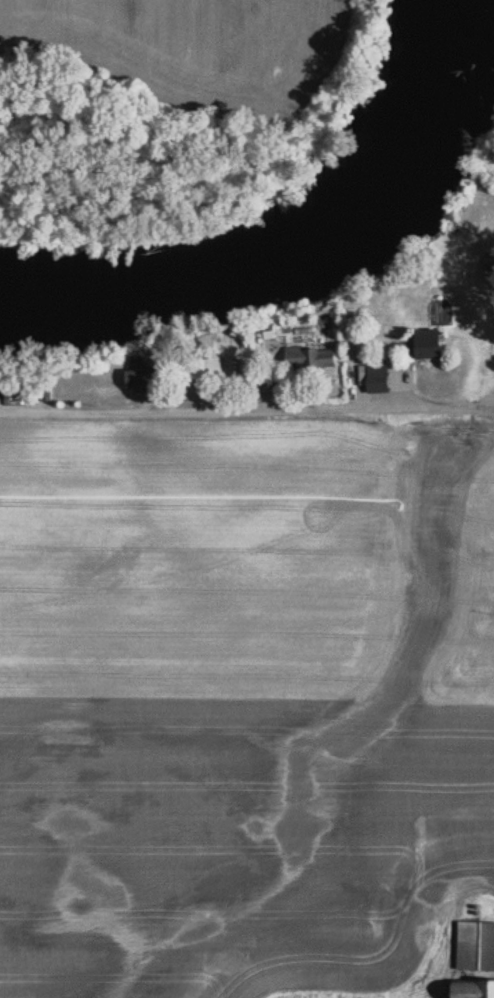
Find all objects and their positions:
river: (309, 254)
building: (493, 264)
building: (432, 345)
building: (314, 357)
building: (208, 369)
building: (148, 377)
building: (259, 377)
building: (382, 378)
road: (247, 411)
building: (477, 945)
building: (475, 988)

